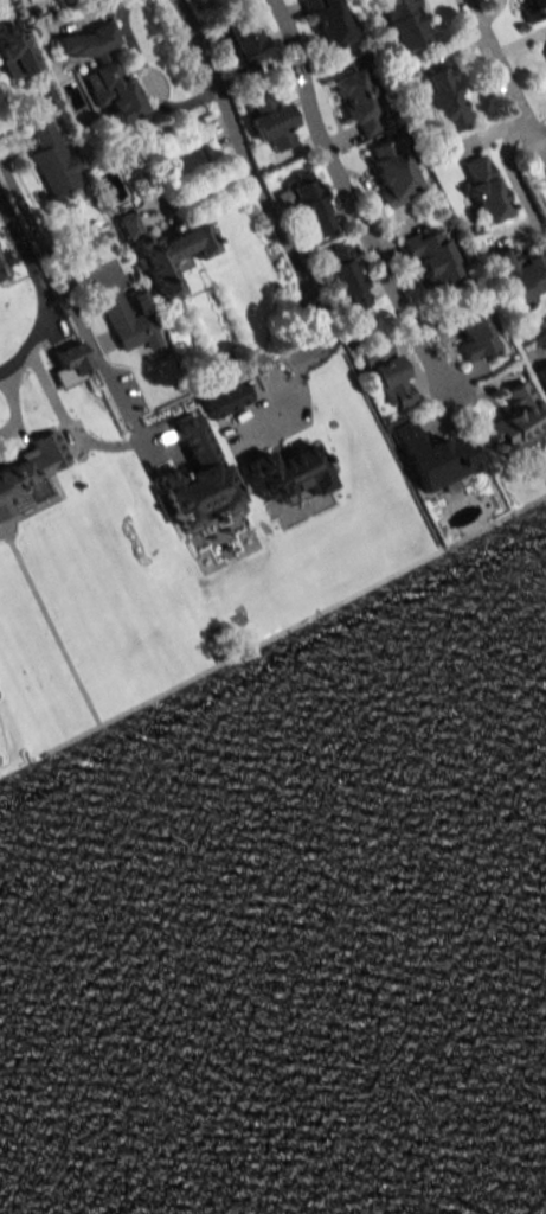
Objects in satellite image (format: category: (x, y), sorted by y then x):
building: (533, 9)
building: (327, 21)
building: (403, 23)
building: (246, 38)
building: (545, 45)
building: (13, 52)
building: (102, 74)
road: (499, 75)
road: (144, 78)
building: (356, 96)
building: (443, 98)
building: (271, 122)
road: (542, 148)
road: (502, 154)
building: (53, 160)
building: (391, 172)
road: (251, 180)
building: (483, 190)
building: (307, 203)
road: (352, 212)
building: (162, 250)
building: (431, 258)
building: (4, 266)
building: (519, 275)
building: (345, 279)
road: (43, 292)
building: (129, 320)
building: (471, 331)
building: (69, 364)
building: (541, 376)
road: (104, 378)
building: (390, 379)
building: (223, 400)
road: (11, 401)
building: (516, 417)
building: (28, 473)
building: (285, 474)
building: (201, 496)

